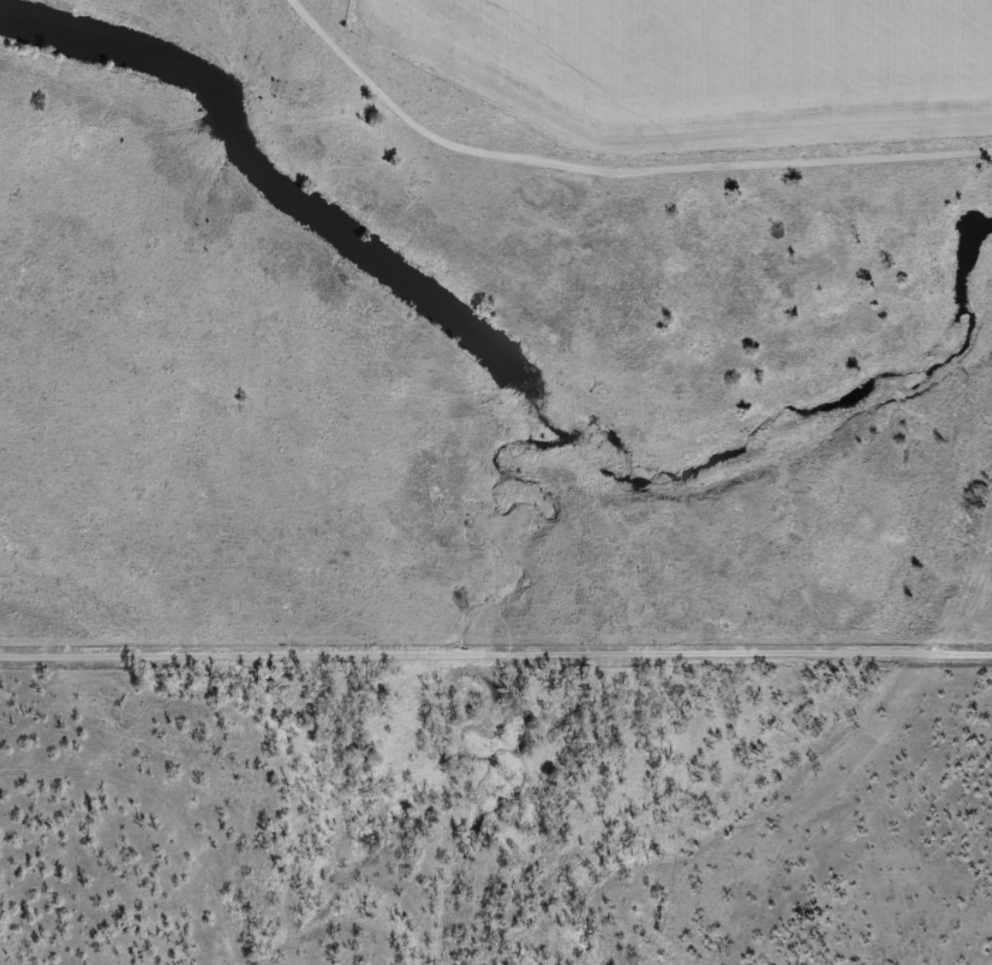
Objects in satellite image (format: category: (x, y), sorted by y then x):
road: (602, 183)
road: (496, 653)

